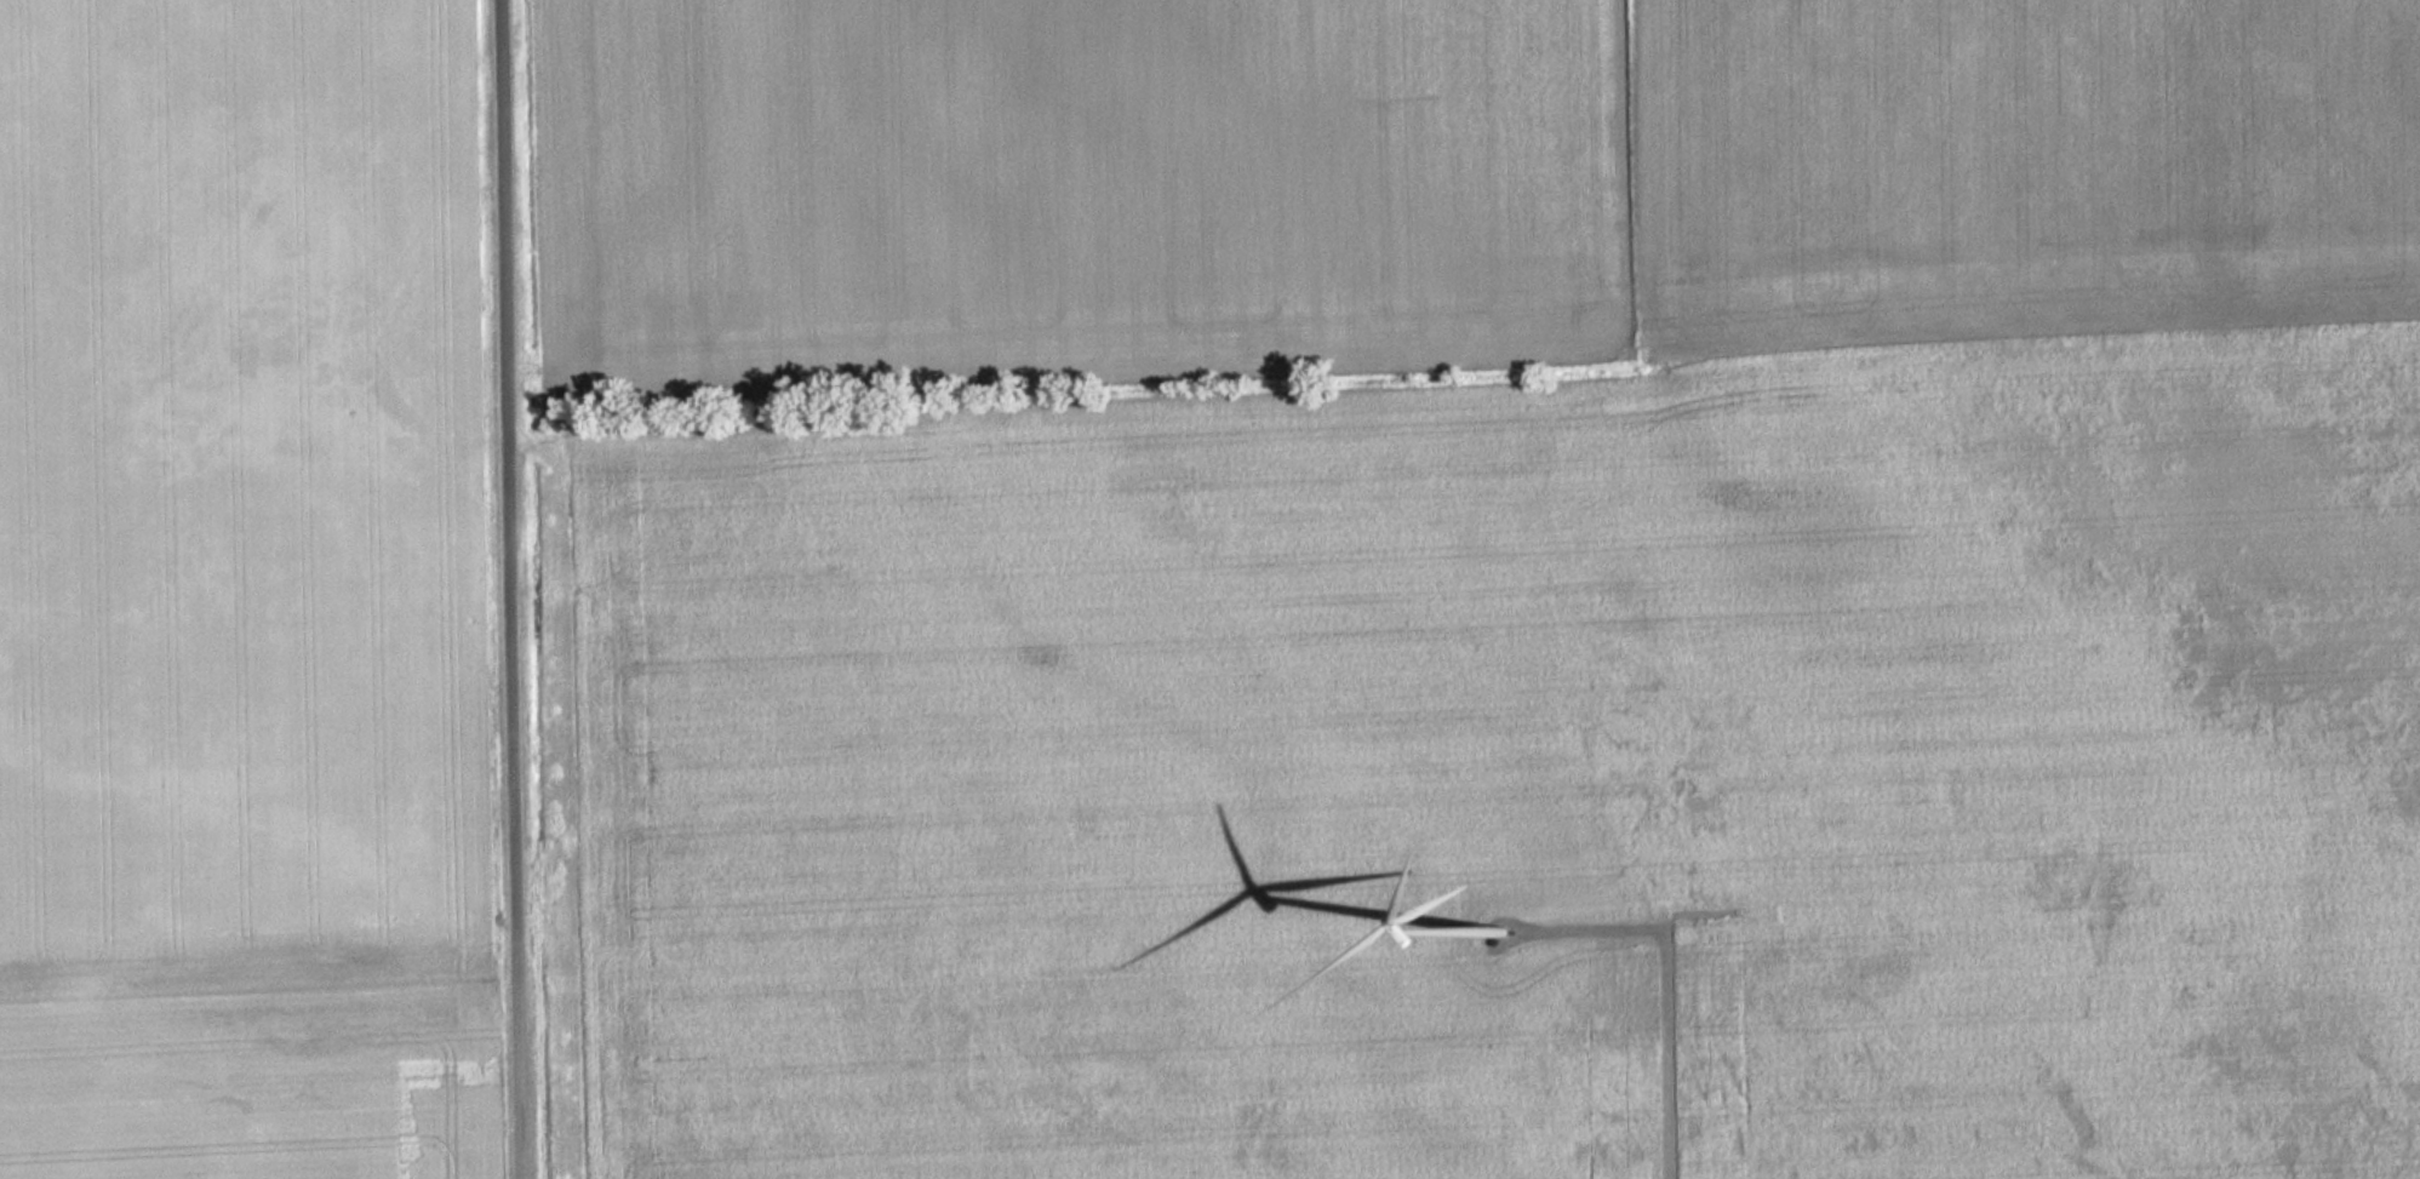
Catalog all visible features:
road: (514, 589)
wind turbine: (1510, 934)
road: (1684, 1011)

